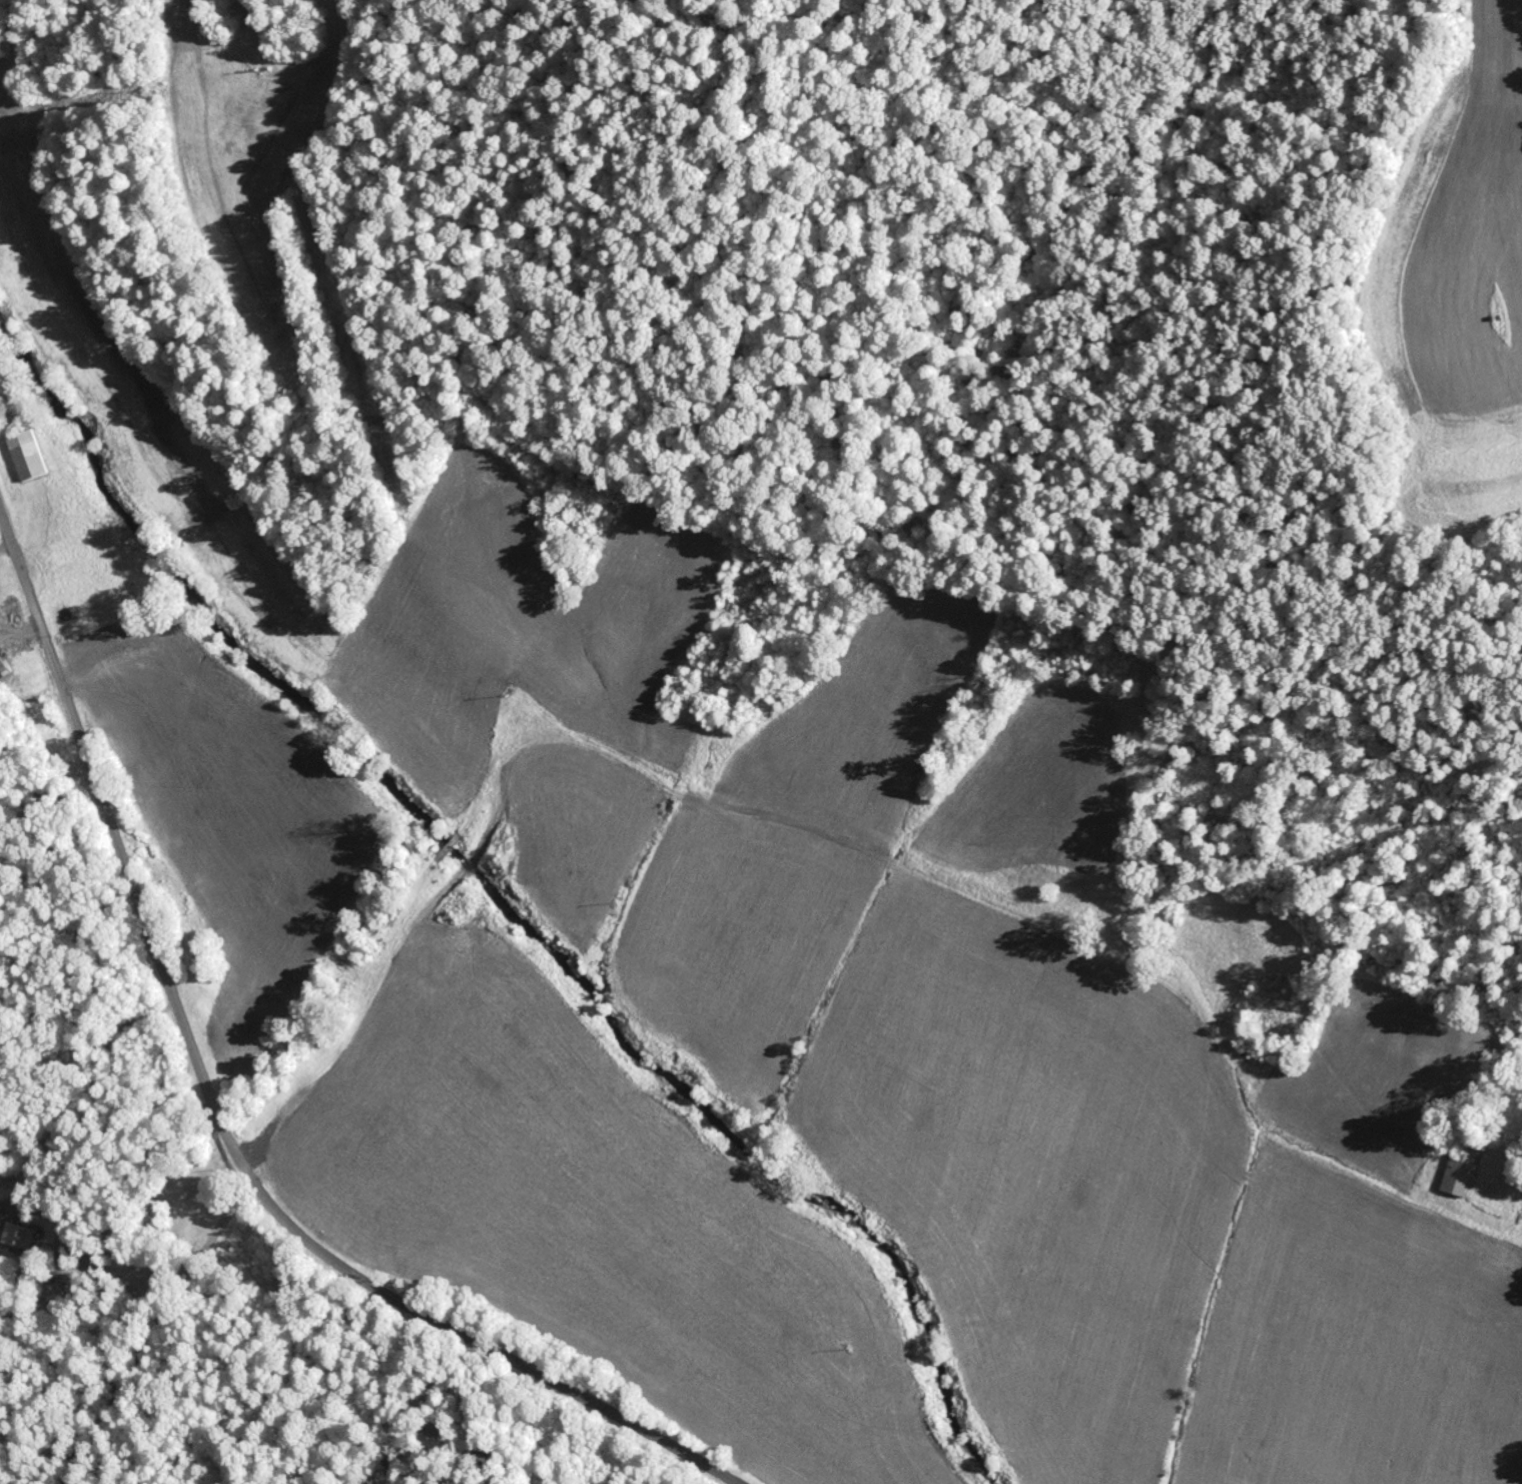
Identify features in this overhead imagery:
building: (28, 455)
road: (344, 915)
road: (218, 1117)
building: (1464, 1163)

